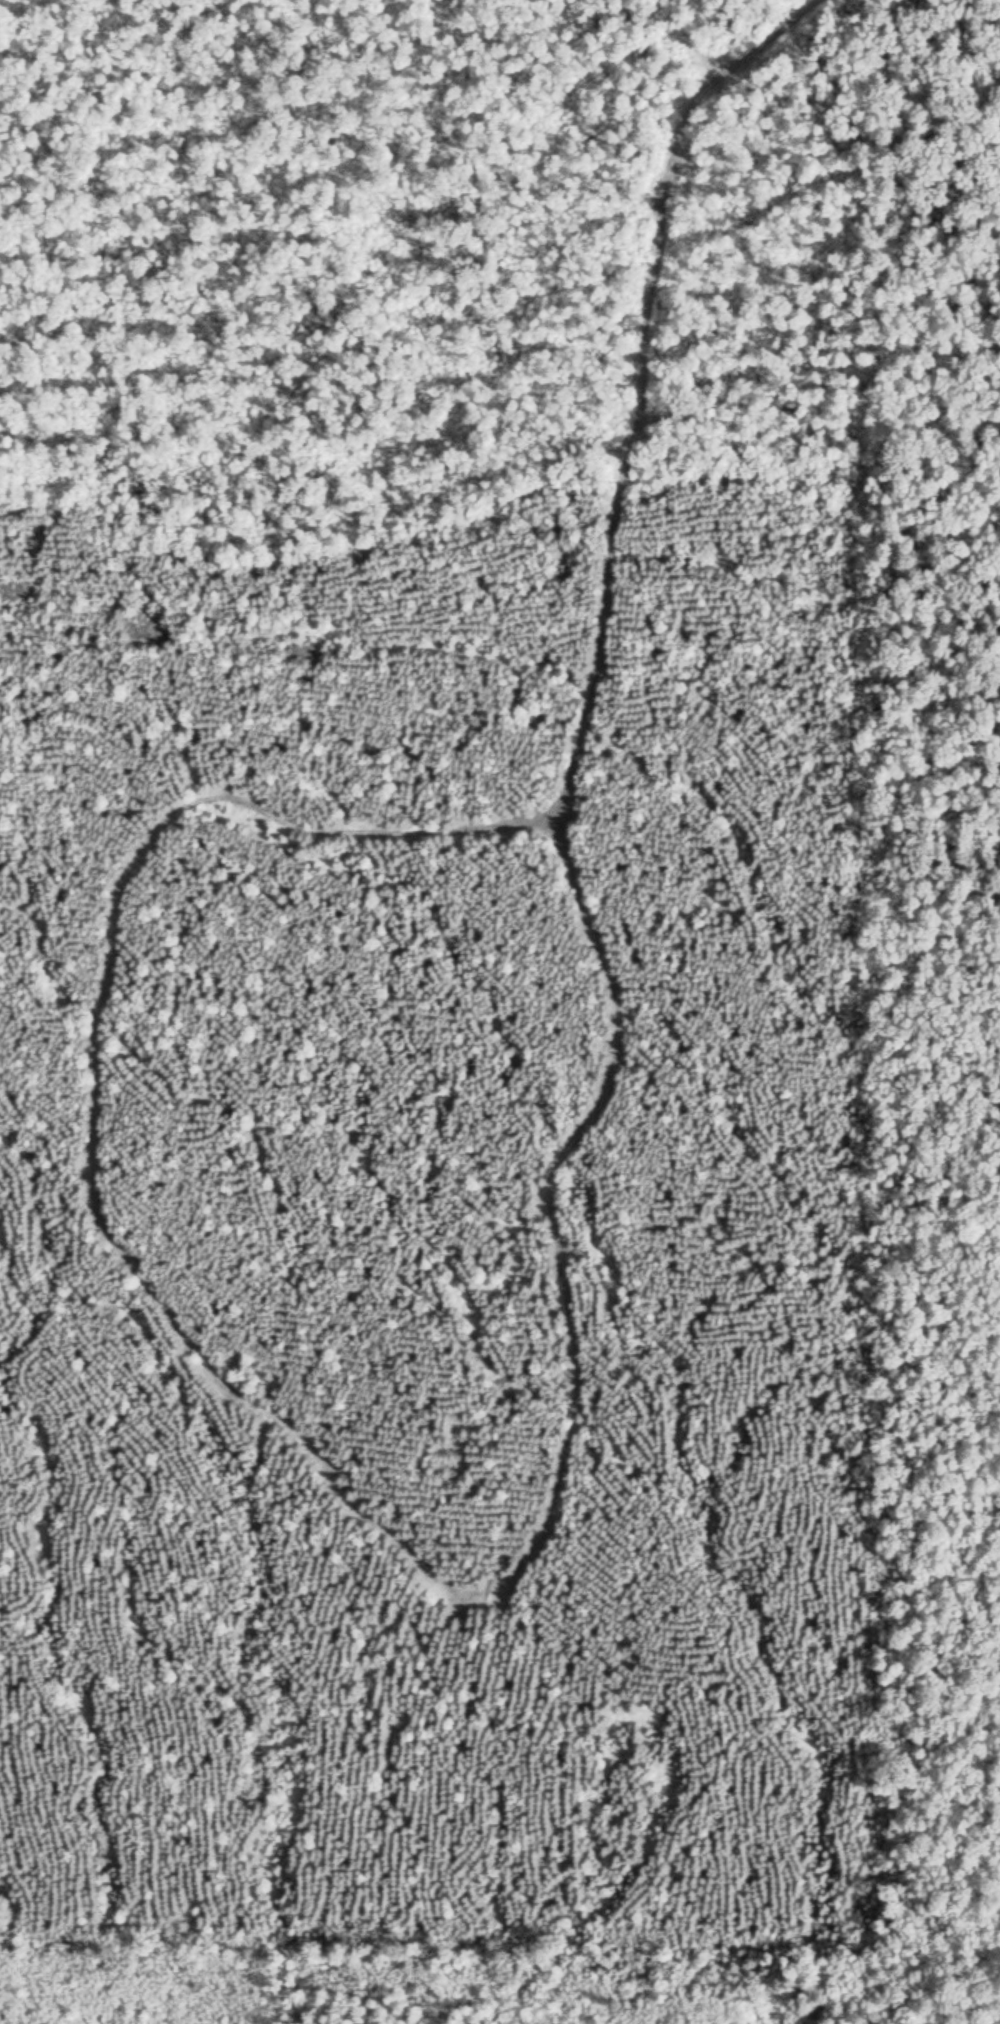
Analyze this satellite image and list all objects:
road: (632, 373)
road: (301, 1440)

